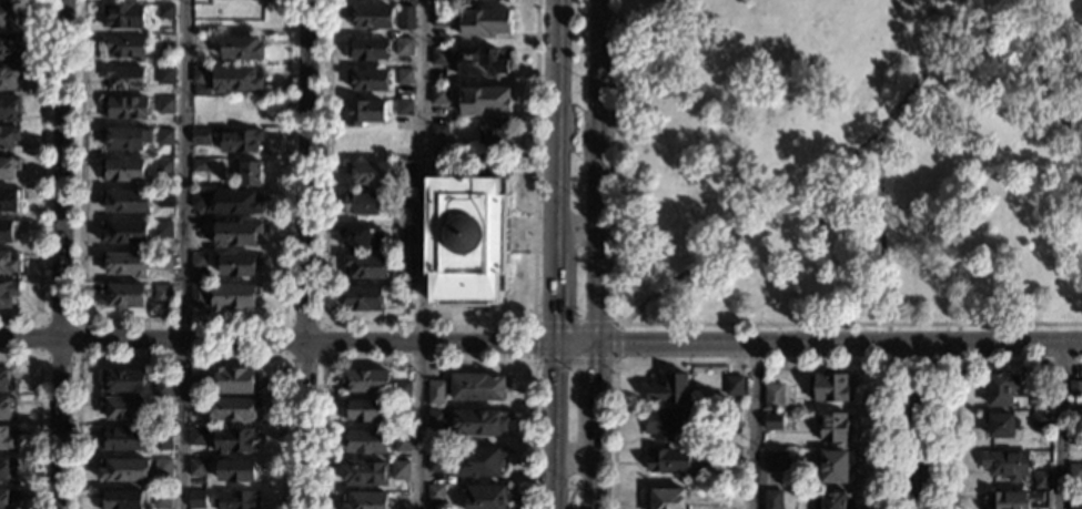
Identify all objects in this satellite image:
building: (494, 0)
building: (443, 2)
building: (165, 11)
building: (10, 13)
building: (123, 16)
building: (371, 17)
building: (439, 18)
building: (406, 19)
building: (485, 23)
road: (980, 29)
building: (201, 44)
building: (9, 45)
building: (123, 45)
building: (404, 47)
building: (243, 48)
building: (367, 50)
building: (439, 57)
building: (481, 63)
building: (165, 75)
building: (201, 75)
building: (9, 77)
building: (405, 77)
building: (123, 78)
building: (237, 80)
building: (367, 80)
road: (1044, 82)
building: (201, 90)
building: (438, 95)
building: (484, 100)
building: (165, 105)
building: (125, 108)
building: (403, 108)
building: (10, 109)
building: (365, 112)
building: (438, 131)
building: (165, 136)
building: (201, 136)
building: (495, 136)
building: (8, 138)
building: (125, 138)
building: (403, 140)
building: (240, 141)
building: (364, 143)
park: (846, 164)
building: (200, 165)
building: (9, 167)
building: (164, 167)
building: (122, 171)
road: (553, 171)
building: (403, 172)
building: (368, 173)
building: (251, 174)
road: (40, 179)
road: (815, 189)
building: (164, 198)
building: (10, 200)
building: (200, 201)
building: (127, 202)
building: (402, 202)
building: (237, 203)
building: (362, 204)
road: (880, 228)
building: (163, 230)
road: (574, 230)
building: (6, 232)
building: (125, 233)
building: (236, 234)
building: (402, 235)
building: (360, 237)
building: (467, 241)
road: (59, 254)
road: (183, 254)
road: (305, 254)
road: (419, 254)
road: (594, 254)
building: (163, 261)
building: (9, 262)
building: (199, 262)
building: (125, 264)
building: (236, 265)
building: (403, 265)
building: (366, 267)
building: (162, 293)
building: (8, 294)
building: (124, 295)
building: (198, 296)
building: (234, 297)
building: (403, 297)
building: (363, 298)
traffic signals: (555, 318)
road: (183, 319)
road: (427, 324)
road: (686, 324)
road: (295, 340)
traffic signals: (527, 343)
traffic signals: (620, 343)
road: (755, 343)
road: (999, 343)
road: (79, 356)
road: (179, 357)
road: (283, 359)
road: (425, 360)
road: (533, 363)
road: (751, 363)
road: (921, 363)
traffic signals: (593, 367)
road: (954, 371)
building: (7, 381)
building: (122, 381)
building: (236, 381)
building: (365, 381)
building: (734, 386)
building: (196, 387)
building: (477, 387)
building: (831, 387)
building: (163, 388)
building: (402, 389)
building: (669, 389)
building: (1002, 389)
building: (1075, 389)
building: (436, 393)
building: (773, 397)
building: (1041, 399)
building: (196, 406)
building: (1075, 406)
building: (6, 407)
building: (162, 407)
building: (122, 408)
building: (234, 409)
building: (402, 409)
building: (364, 410)
road: (38, 414)
building: (435, 418)
building: (731, 418)
building: (1041, 419)
building: (479, 423)
building: (773, 423)
building: (668, 424)
road: (553, 425)
road: (755, 425)
building: (1002, 425)
road: (918, 426)
road: (1060, 426)
building: (832, 428)
building: (198, 437)
building: (7, 438)
building: (1074, 438)
building: (122, 439)
building: (163, 439)
building: (235, 441)
building: (366, 441)
building: (401, 441)
road: (573, 455)
building: (731, 456)
building: (435, 459)
building: (477, 461)
building: (669, 461)
building: (776, 461)
building: (1007, 465)
building: (830, 466)
building: (162, 467)
building: (196, 468)
building: (6, 469)
building: (123, 470)
building: (400, 470)
building: (236, 471)
building: (365, 474)
building: (1075, 474)
building: (1042, 479)
building: (435, 495)
building: (485, 497)
building: (7, 498)
building: (666, 498)
building: (732, 498)
building: (161, 499)
building: (773, 499)
building: (1019, 499)
building: (121, 500)
building: (195, 500)
building: (235, 500)
building: (364, 500)
building: (831, 500)
building: (1074, 501)

